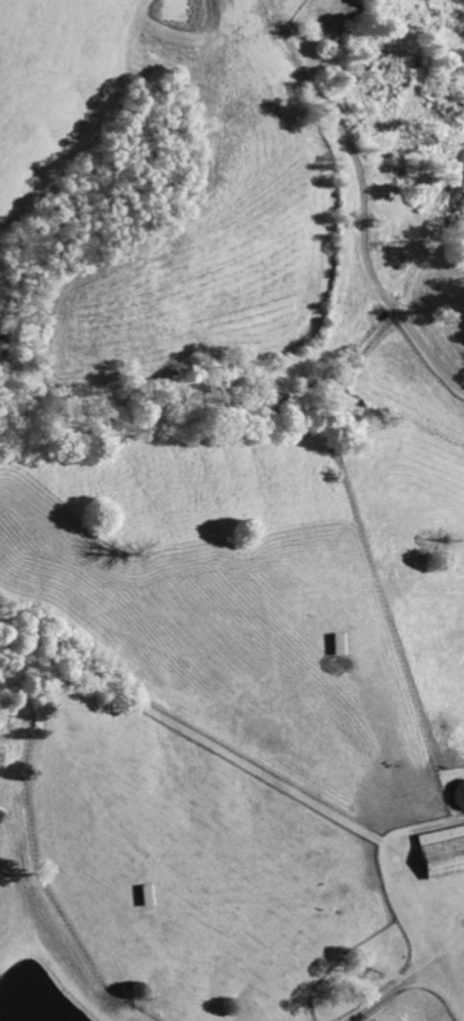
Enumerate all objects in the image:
building: (444, 851)
building: (150, 894)

